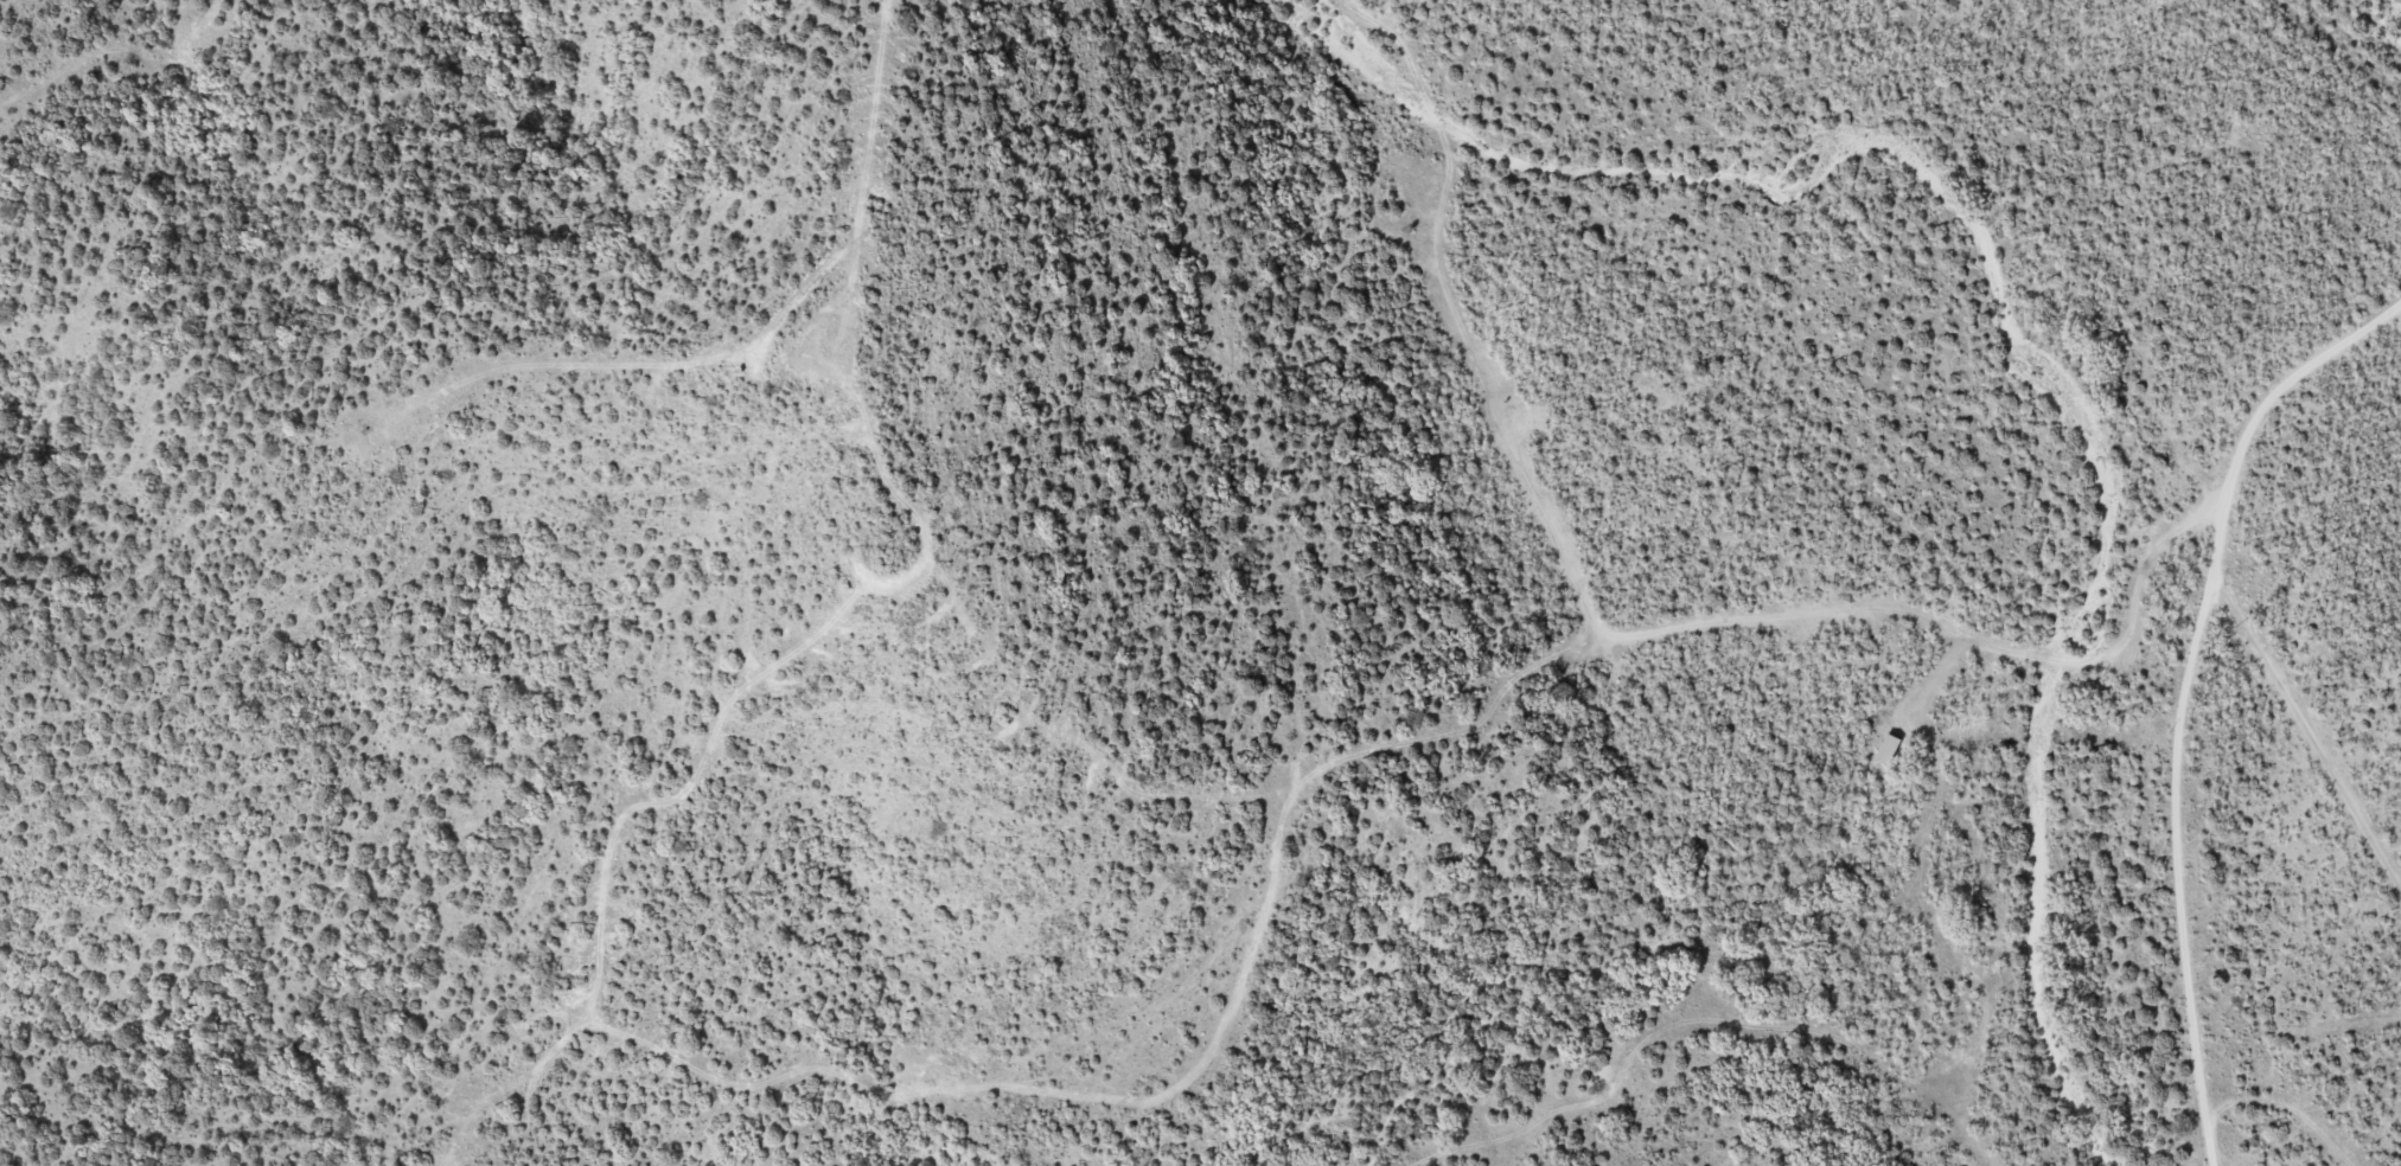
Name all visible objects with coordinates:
road: (2223, 581)
road: (2188, 877)

